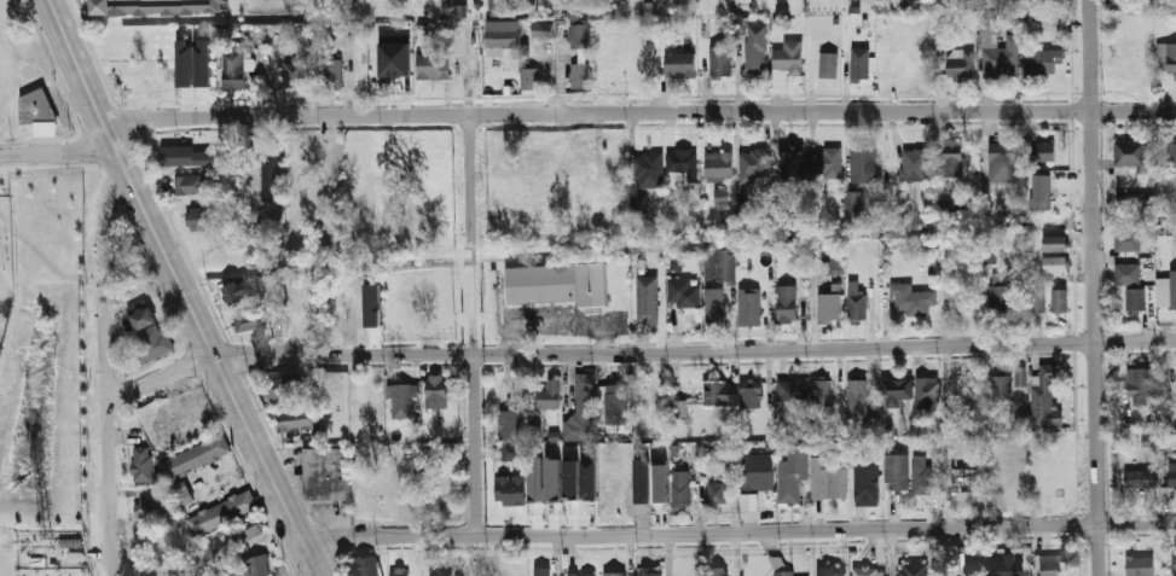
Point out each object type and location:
building: (163, 5)
building: (502, 7)
building: (989, 24)
building: (543, 29)
building: (579, 36)
building: (503, 37)
building: (755, 53)
building: (1002, 57)
building: (394, 58)
building: (1166, 58)
building: (720, 60)
building: (1044, 60)
building: (202, 63)
building: (184, 64)
building: (786, 64)
building: (861, 64)
building: (680, 65)
building: (828, 65)
building: (433, 66)
building: (961, 66)
building: (234, 71)
building: (888, 72)
building: (294, 74)
building: (334, 74)
building: (579, 75)
building: (531, 78)
building: (39, 112)
road: (638, 115)
road: (471, 129)
building: (187, 150)
building: (1045, 151)
road: (57, 153)
building: (1129, 153)
building: (1171, 156)
building: (574, 157)
building: (954, 159)
building: (682, 163)
building: (824, 163)
building: (863, 163)
building: (334, 164)
building: (615, 164)
building: (792, 164)
building: (1003, 164)
building: (753, 165)
building: (914, 165)
building: (718, 167)
building: (648, 170)
building: (271, 175)
building: (537, 179)
building: (189, 185)
building: (1041, 192)
building: (1053, 193)
road: (108, 196)
building: (720, 197)
building: (1139, 199)
building: (946, 205)
building: (741, 208)
building: (853, 208)
building: (204, 219)
building: (1126, 240)
road: (471, 243)
building: (1054, 243)
road: (471, 255)
building: (835, 258)
building: (676, 264)
building: (1055, 264)
building: (725, 266)
building: (1128, 274)
building: (558, 284)
road: (1091, 287)
road: (183, 289)
building: (1174, 290)
building: (683, 293)
building: (1000, 293)
building: (911, 299)
building: (1135, 299)
building: (1037, 301)
building: (1060, 301)
building: (857, 303)
building: (714, 304)
building: (787, 304)
building: (238, 307)
building: (749, 307)
road: (471, 308)
building: (824, 308)
building: (647, 312)
building: (150, 331)
road: (824, 347)
road: (286, 354)
building: (1020, 377)
building: (1141, 383)
building: (1002, 388)
building: (278, 391)
building: (436, 391)
building: (896, 391)
building: (793, 392)
building: (928, 392)
building: (722, 394)
building: (751, 394)
building: (821, 394)
building: (550, 395)
building: (857, 397)
building: (579, 398)
building: (1044, 398)
building: (402, 401)
building: (615, 405)
building: (679, 409)
building: (193, 413)
building: (296, 419)
building: (509, 426)
building: (873, 427)
road: (110, 436)
road: (474, 443)
building: (855, 446)
building: (137, 449)
building: (511, 452)
building: (195, 458)
road: (237, 471)
building: (896, 472)
building: (326, 473)
building: (757, 473)
building: (792, 473)
building: (922, 475)
building: (1172, 475)
building: (570, 478)
building: (867, 478)
building: (535, 479)
building: (552, 479)
building: (590, 479)
building: (1141, 479)
building: (828, 481)
building: (963, 482)
building: (660, 483)
building: (510, 489)
building: (682, 490)
building: (718, 494)
building: (748, 501)
building: (152, 508)
building: (221, 512)
building: (247, 529)
road: (740, 531)
building: (366, 565)
building: (1055, 565)
building: (1140, 565)
building: (1174, 565)
building: (962, 566)
building: (245, 568)
building: (781, 568)
building: (913, 569)
building: (1007, 569)
building: (828, 570)
building: (399, 571)
building: (541, 571)
building: (650, 571)
building: (718, 571)
building: (864, 571)
building: (439, 574)
building: (583, 574)
building: (614, 574)

